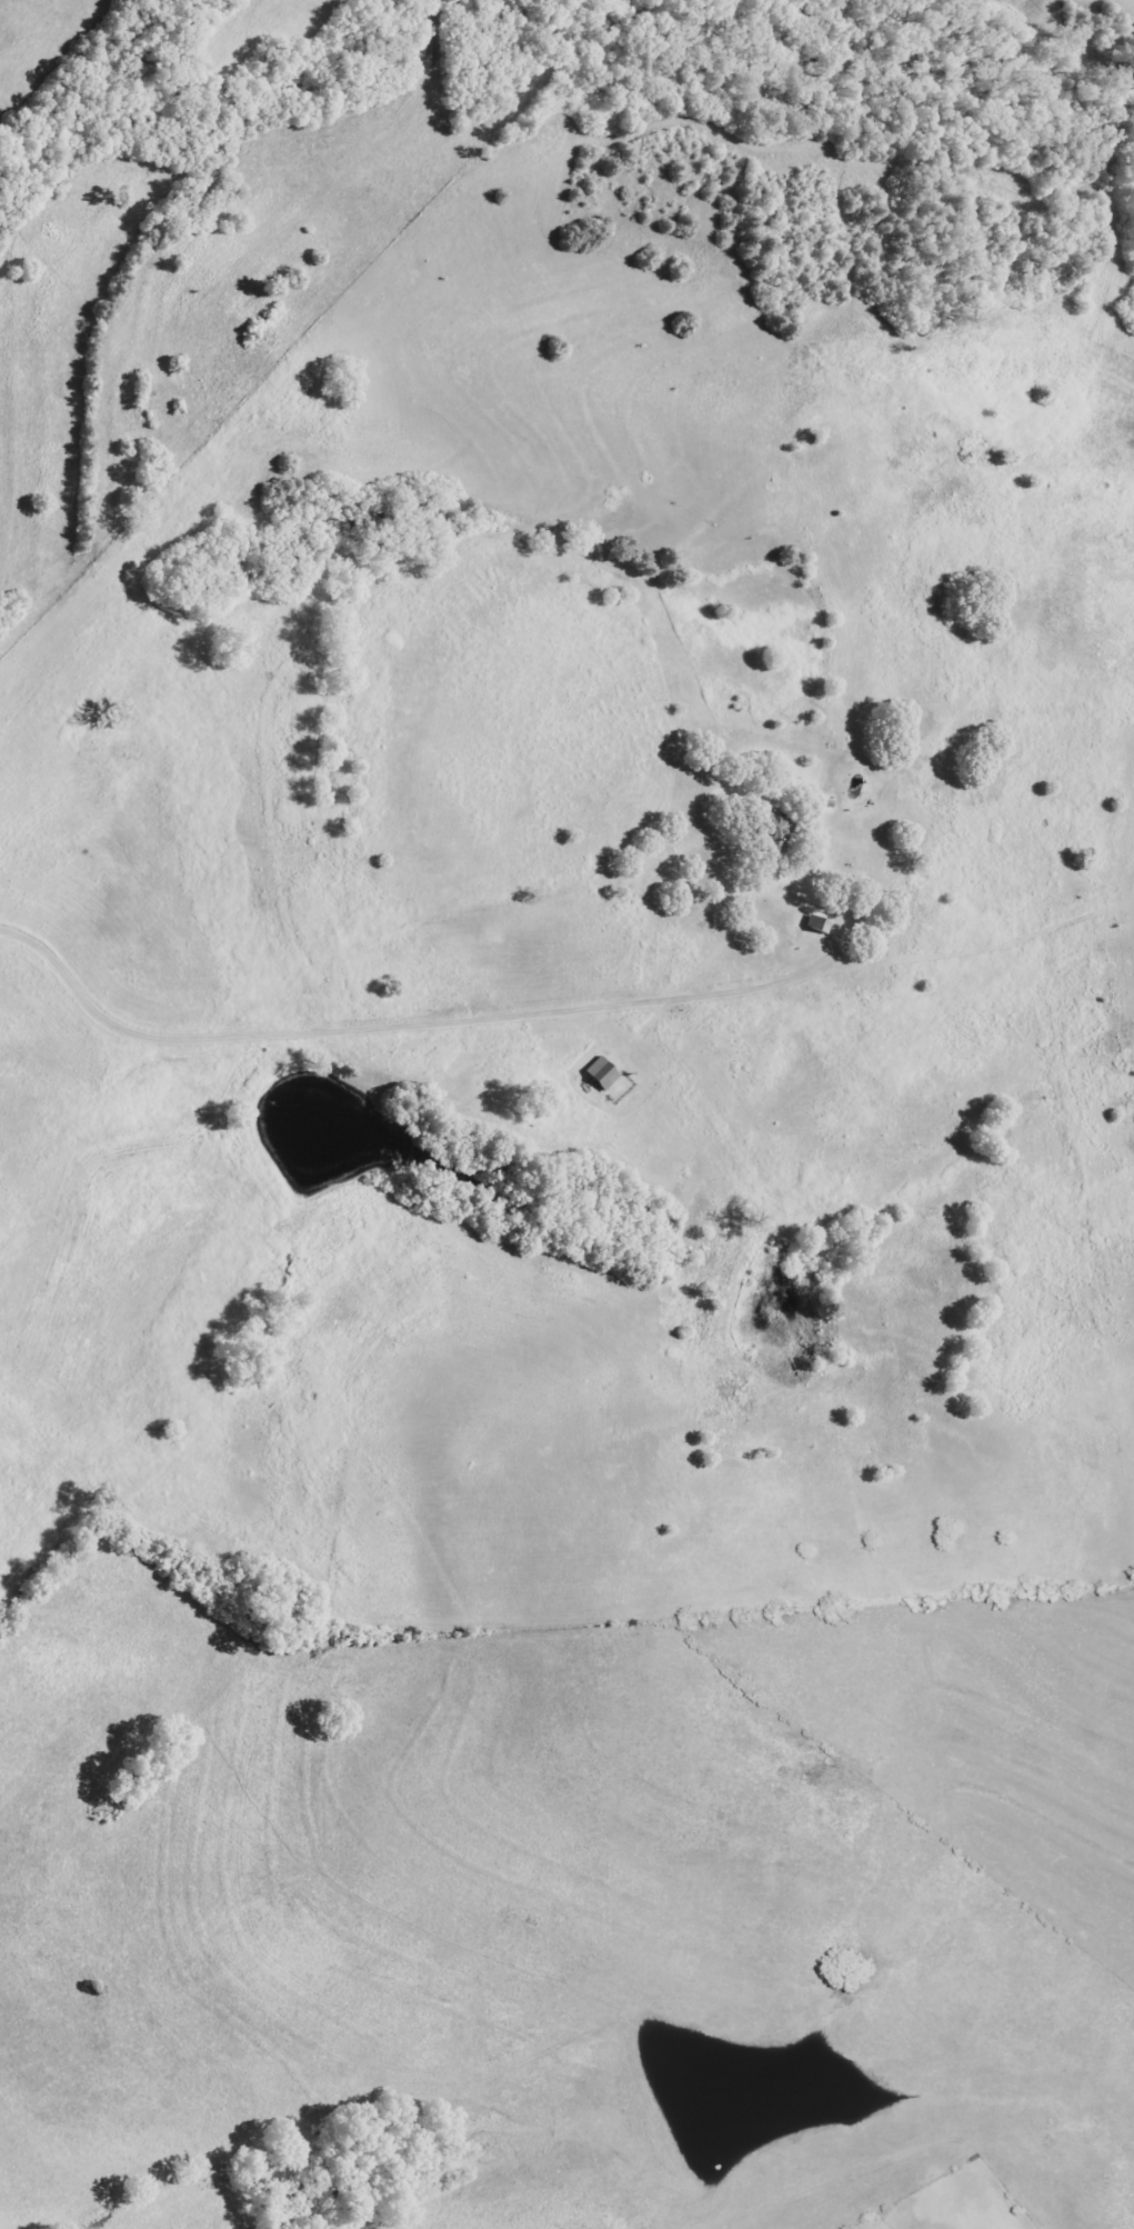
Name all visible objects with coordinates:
building: (772, 832)
road: (398, 834)
building: (817, 926)
building: (601, 1073)

